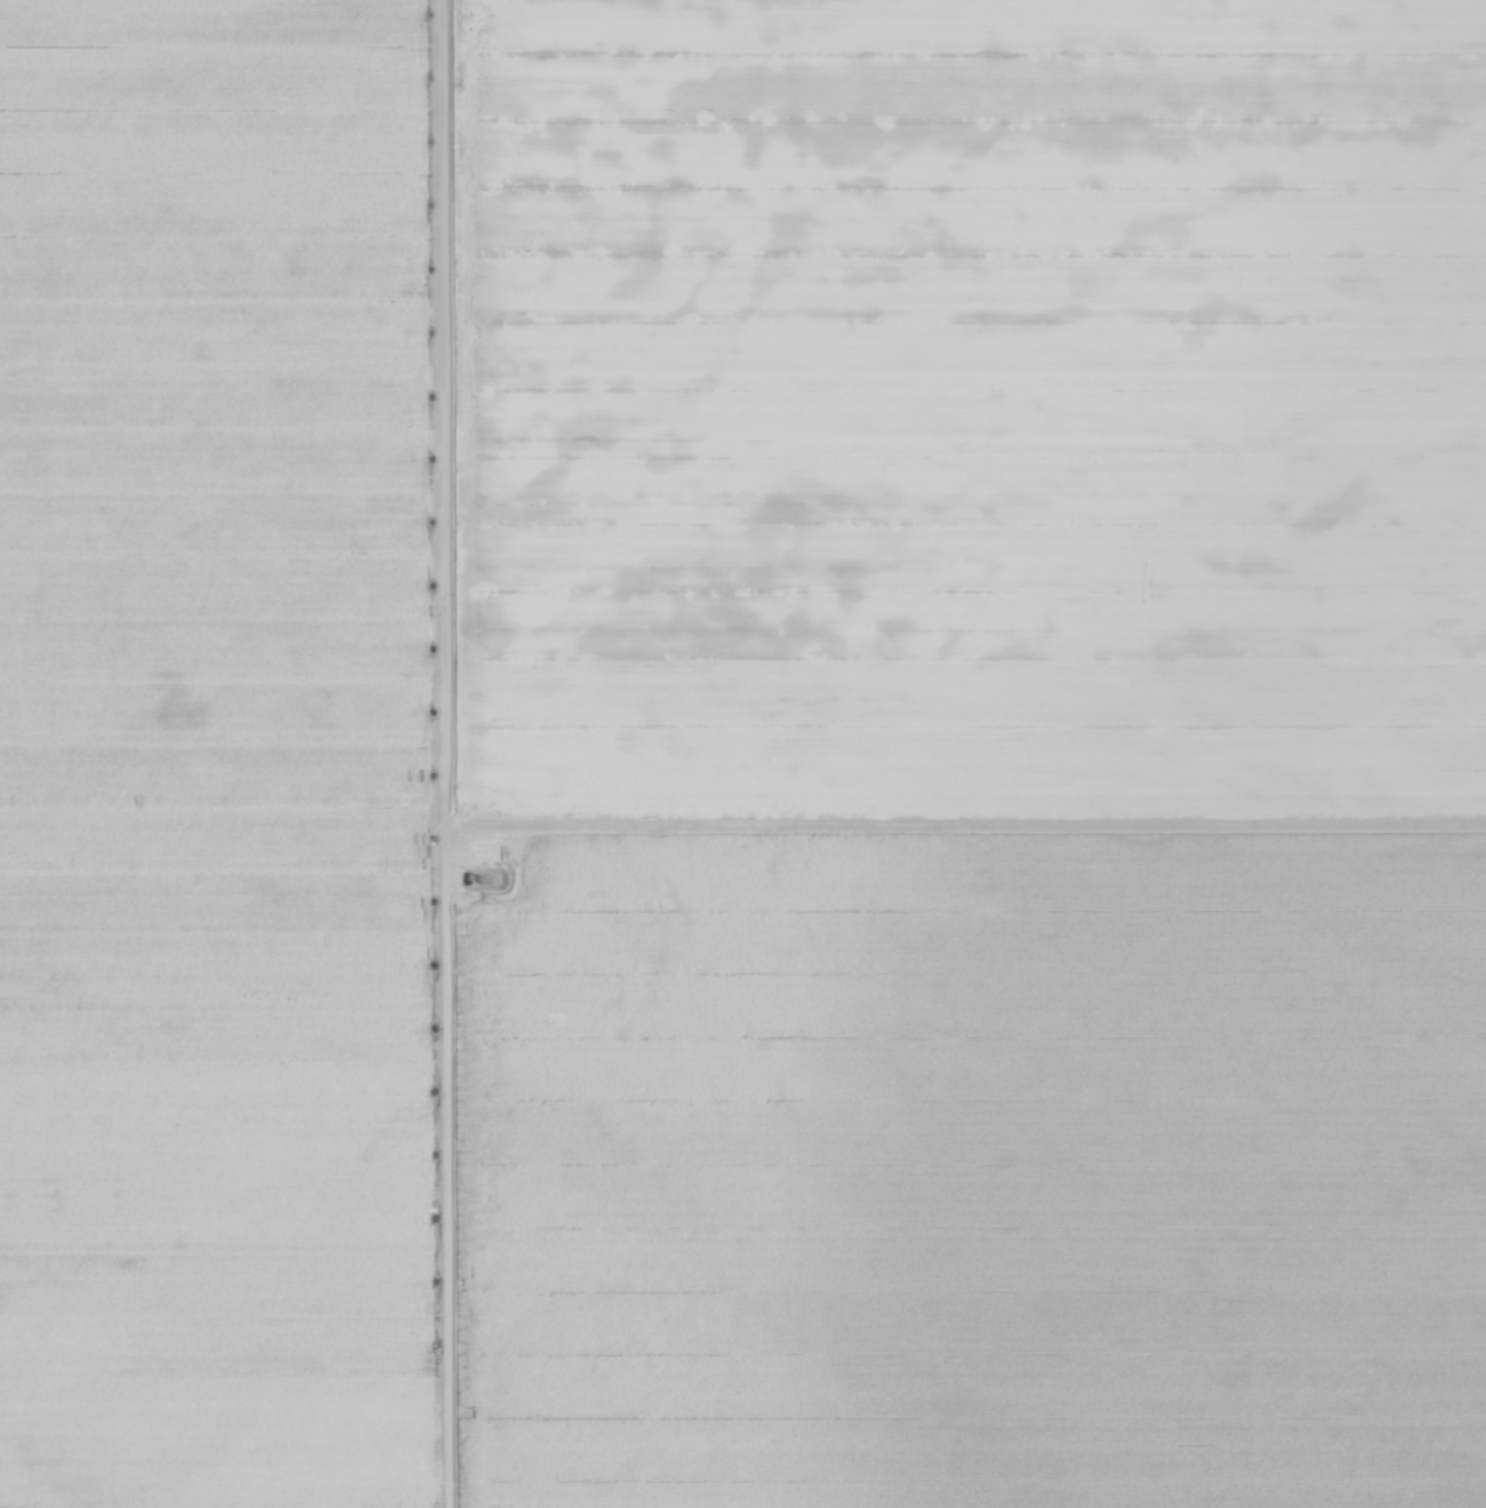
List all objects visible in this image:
crop: (743, 754)

